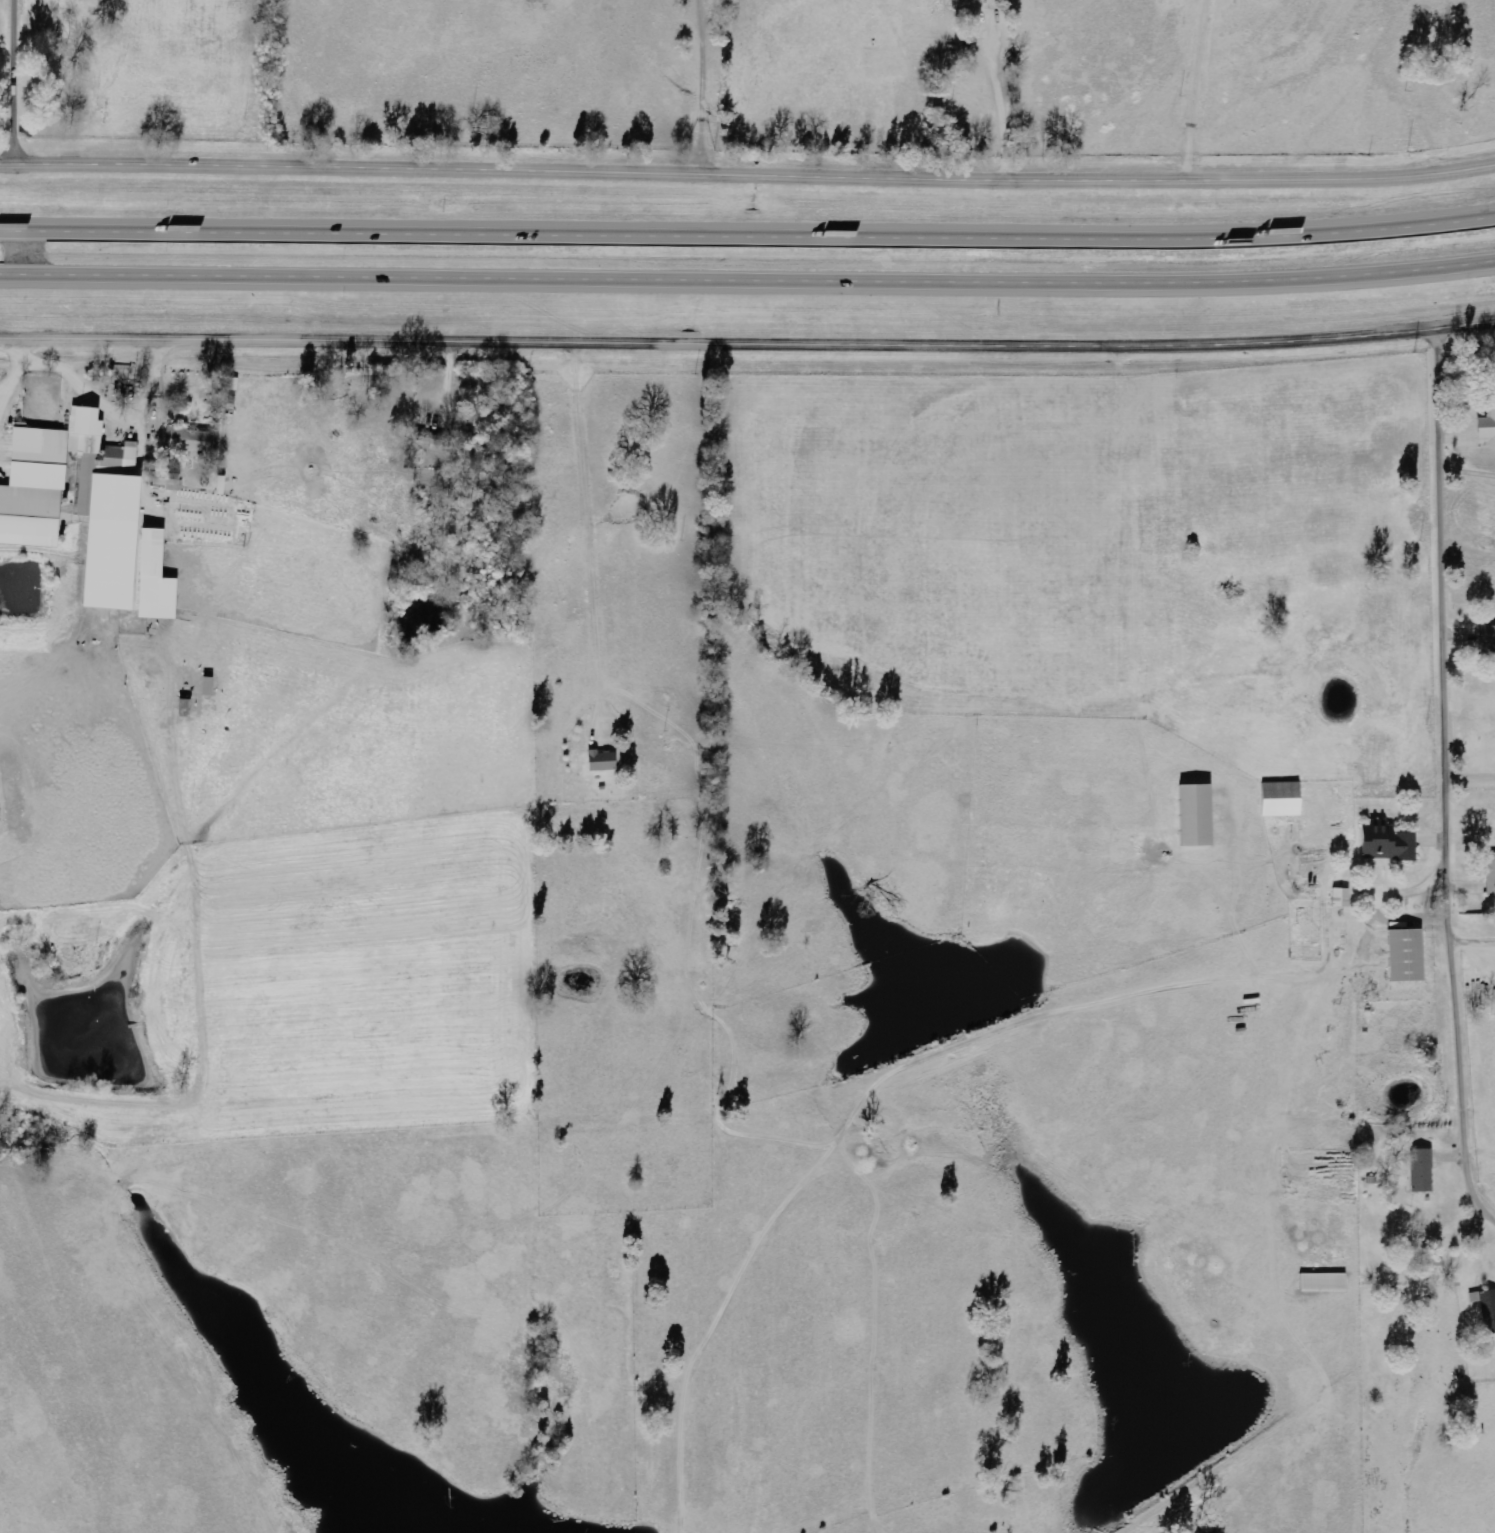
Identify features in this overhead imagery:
road: (704, 86)
road: (747, 173)
road: (747, 233)
road: (747, 281)
road: (747, 343)
building: (1488, 425)
building: (431, 439)
building: (190, 442)
building: (44, 479)
building: (167, 481)
building: (115, 530)
building: (154, 553)
building: (1491, 638)
building: (603, 761)
road: (1452, 775)
building: (1282, 799)
building: (1197, 816)
building: (1389, 844)
building: (1491, 874)
building: (1342, 898)
building: (1407, 956)
building: (1423, 1170)
building: (1324, 1283)
building: (1486, 1309)

